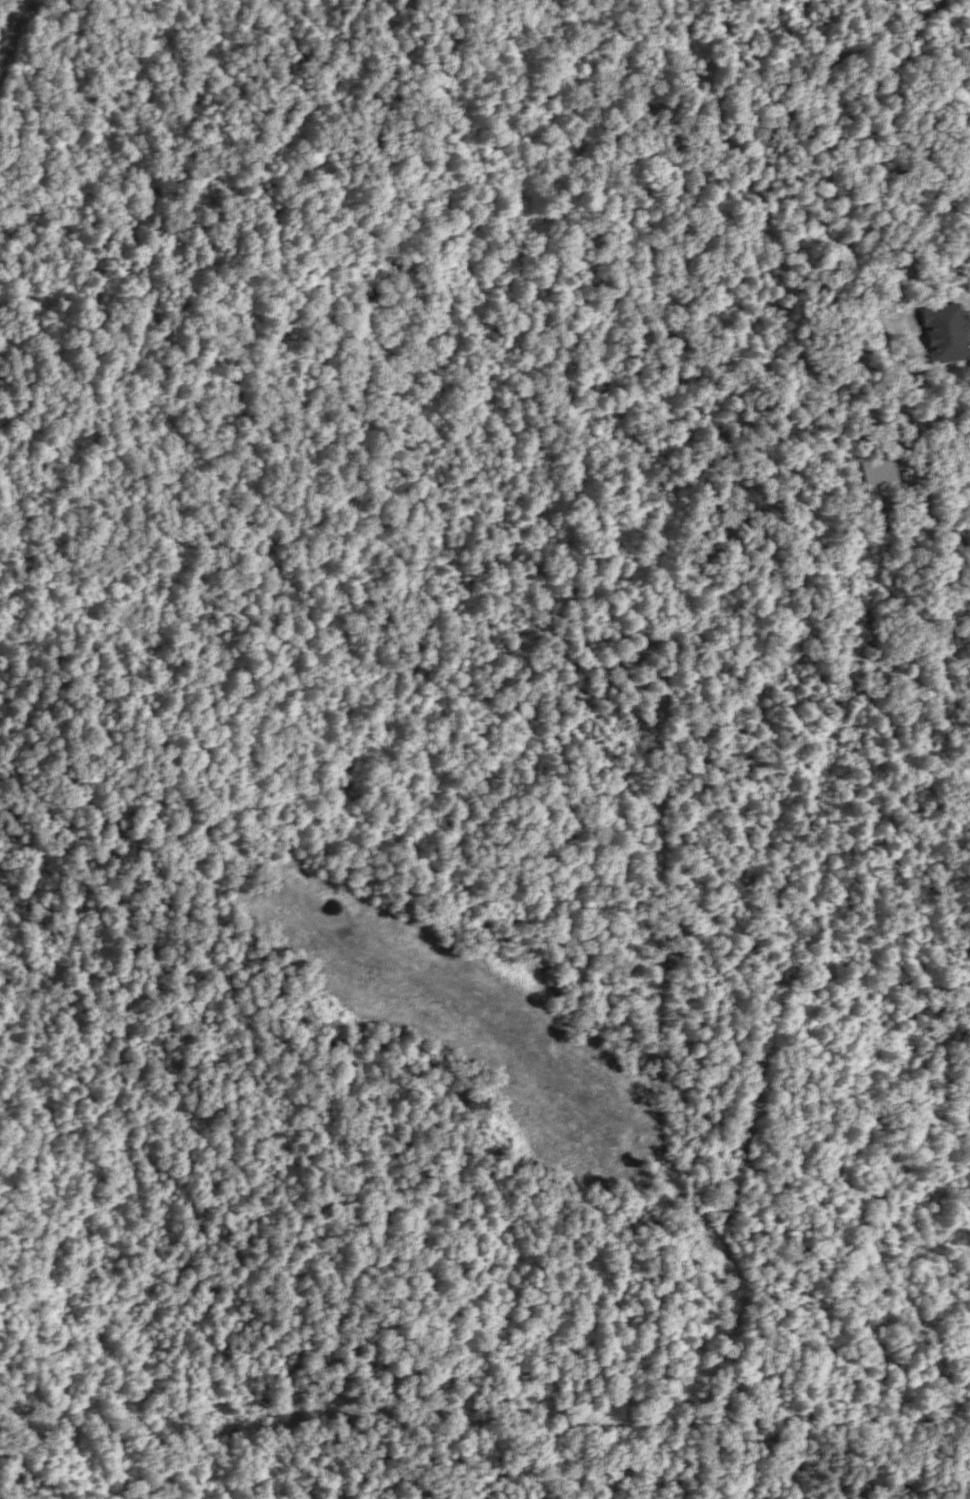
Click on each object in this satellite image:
building: (878, 479)
road: (461, 1011)

